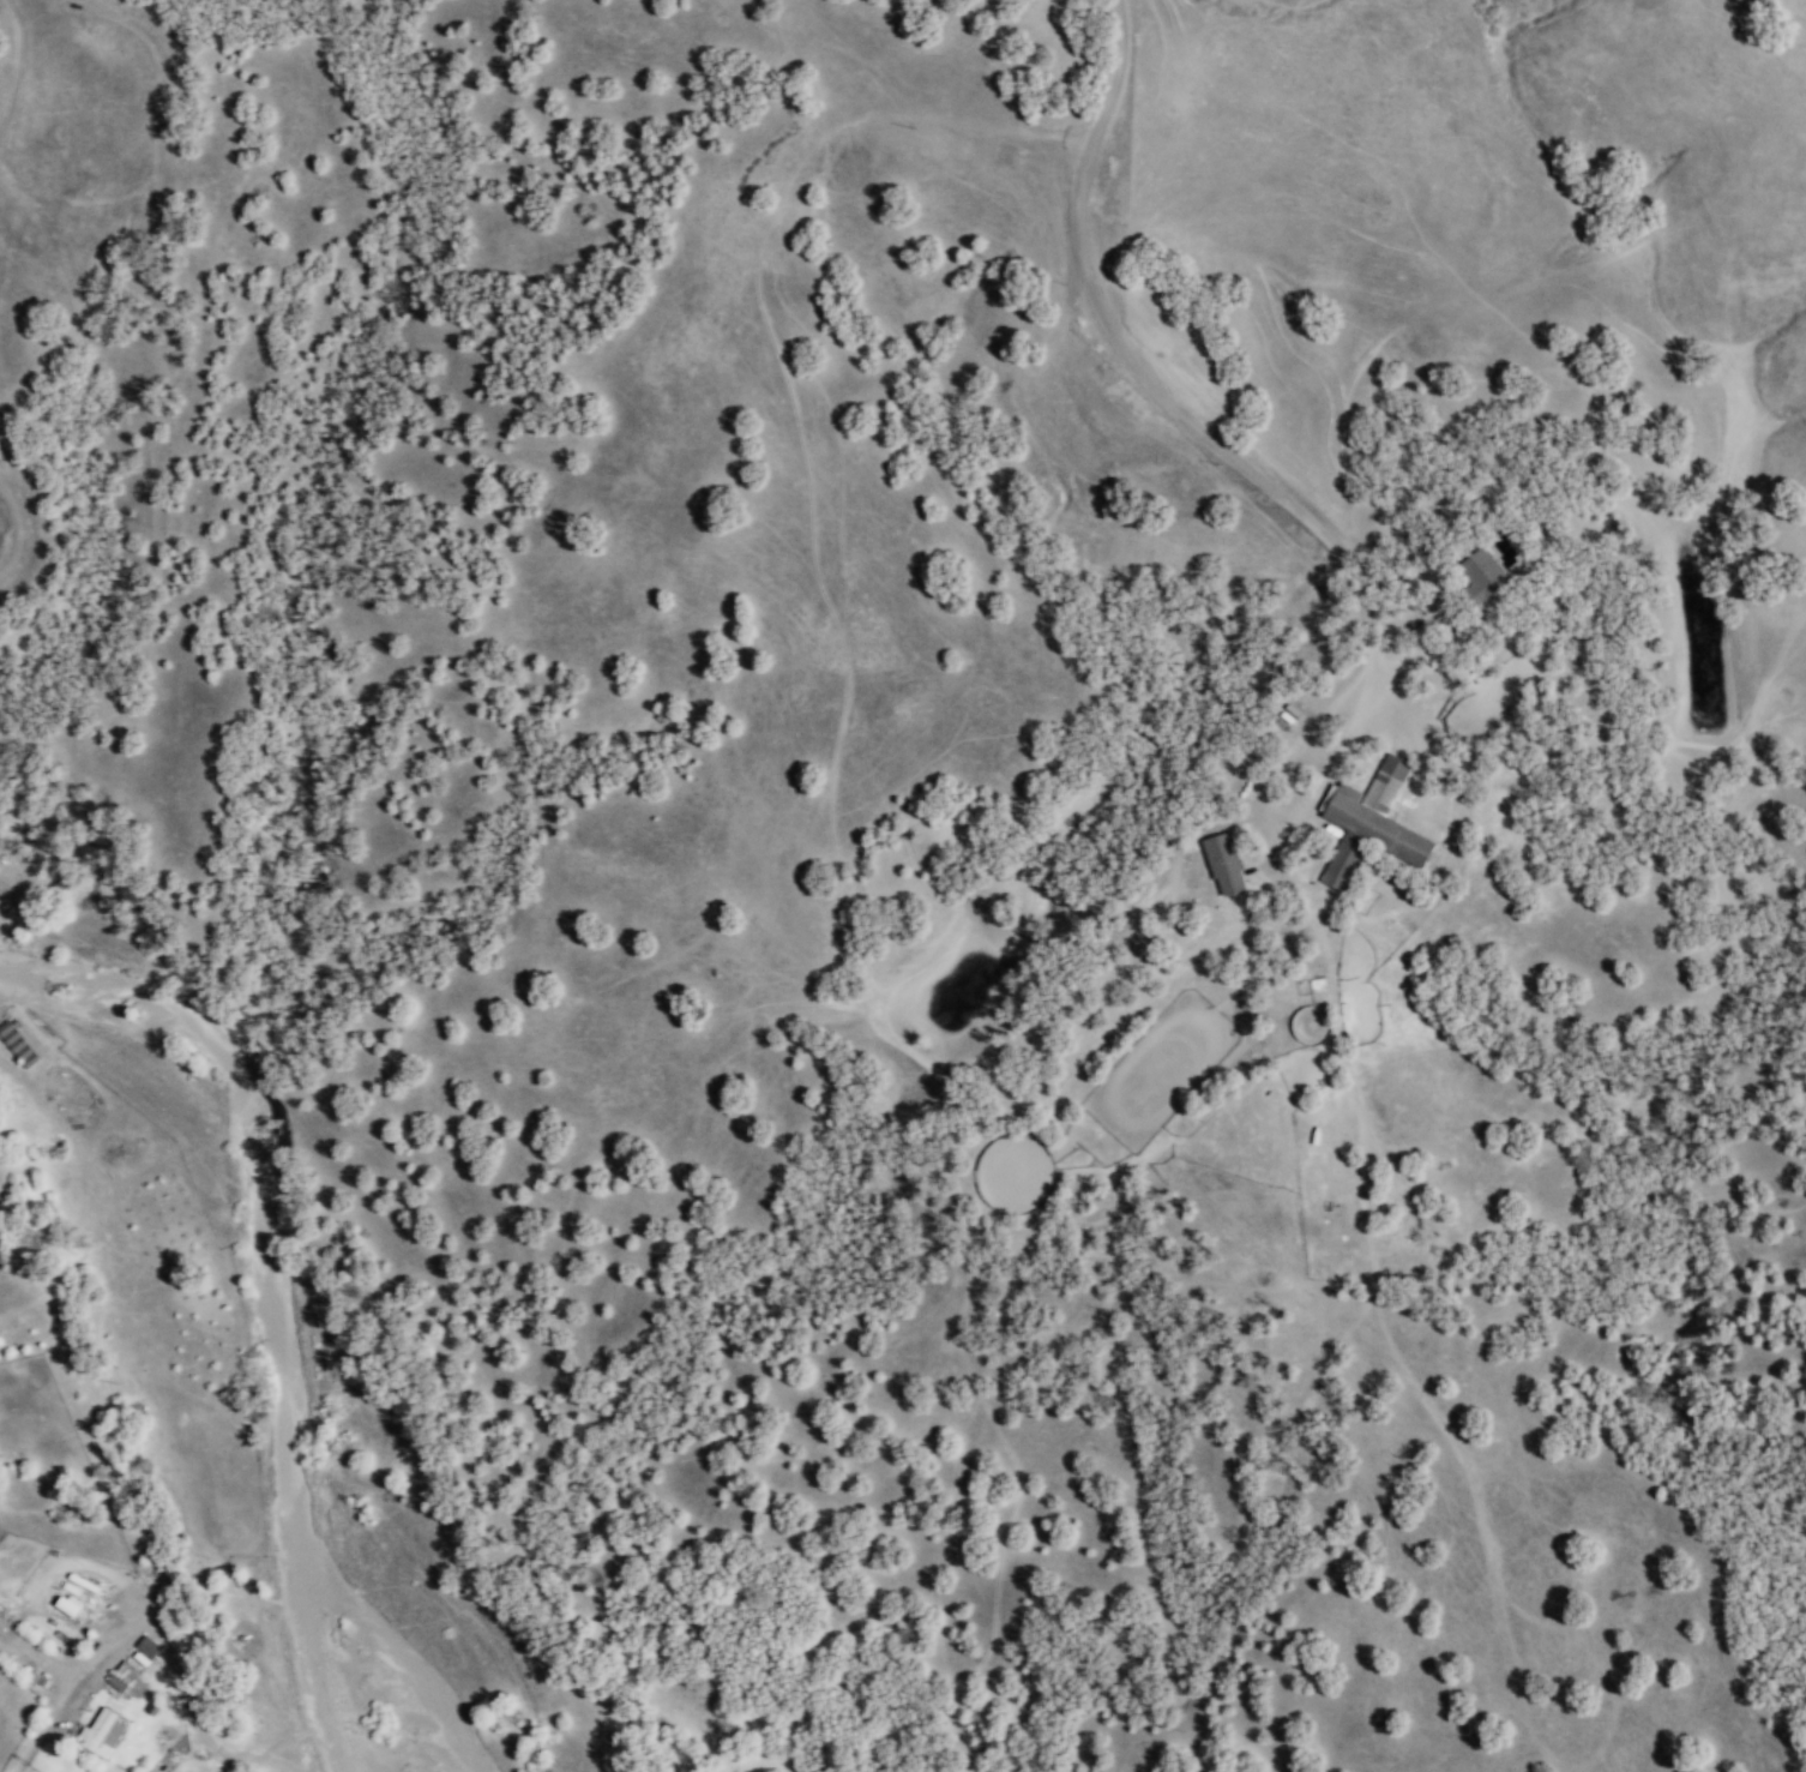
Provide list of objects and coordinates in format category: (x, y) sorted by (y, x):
road: (1156, 384)
building: (1482, 576)
road: (1403, 668)
building: (1369, 824)
building: (1222, 864)
river: (134, 992)
building: (16, 1045)
river: (291, 1443)
building: (64, 1608)
building: (1, 1623)
building: (121, 1676)
building: (102, 1735)

